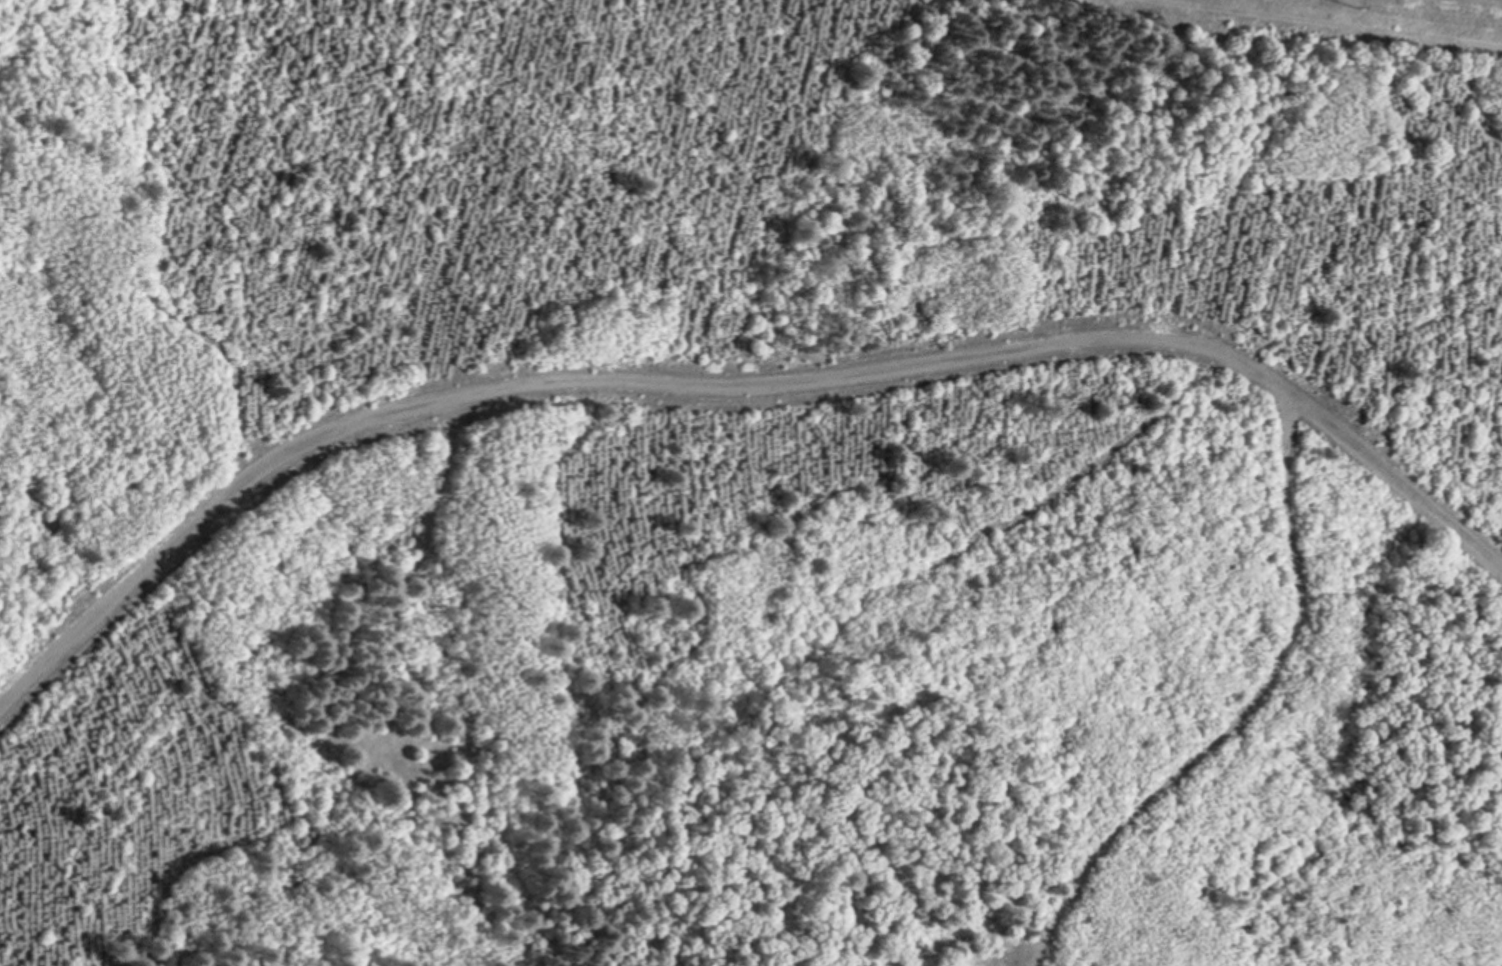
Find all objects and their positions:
power tower: (1344, 1)
road: (739, 388)
road: (1238, 716)

